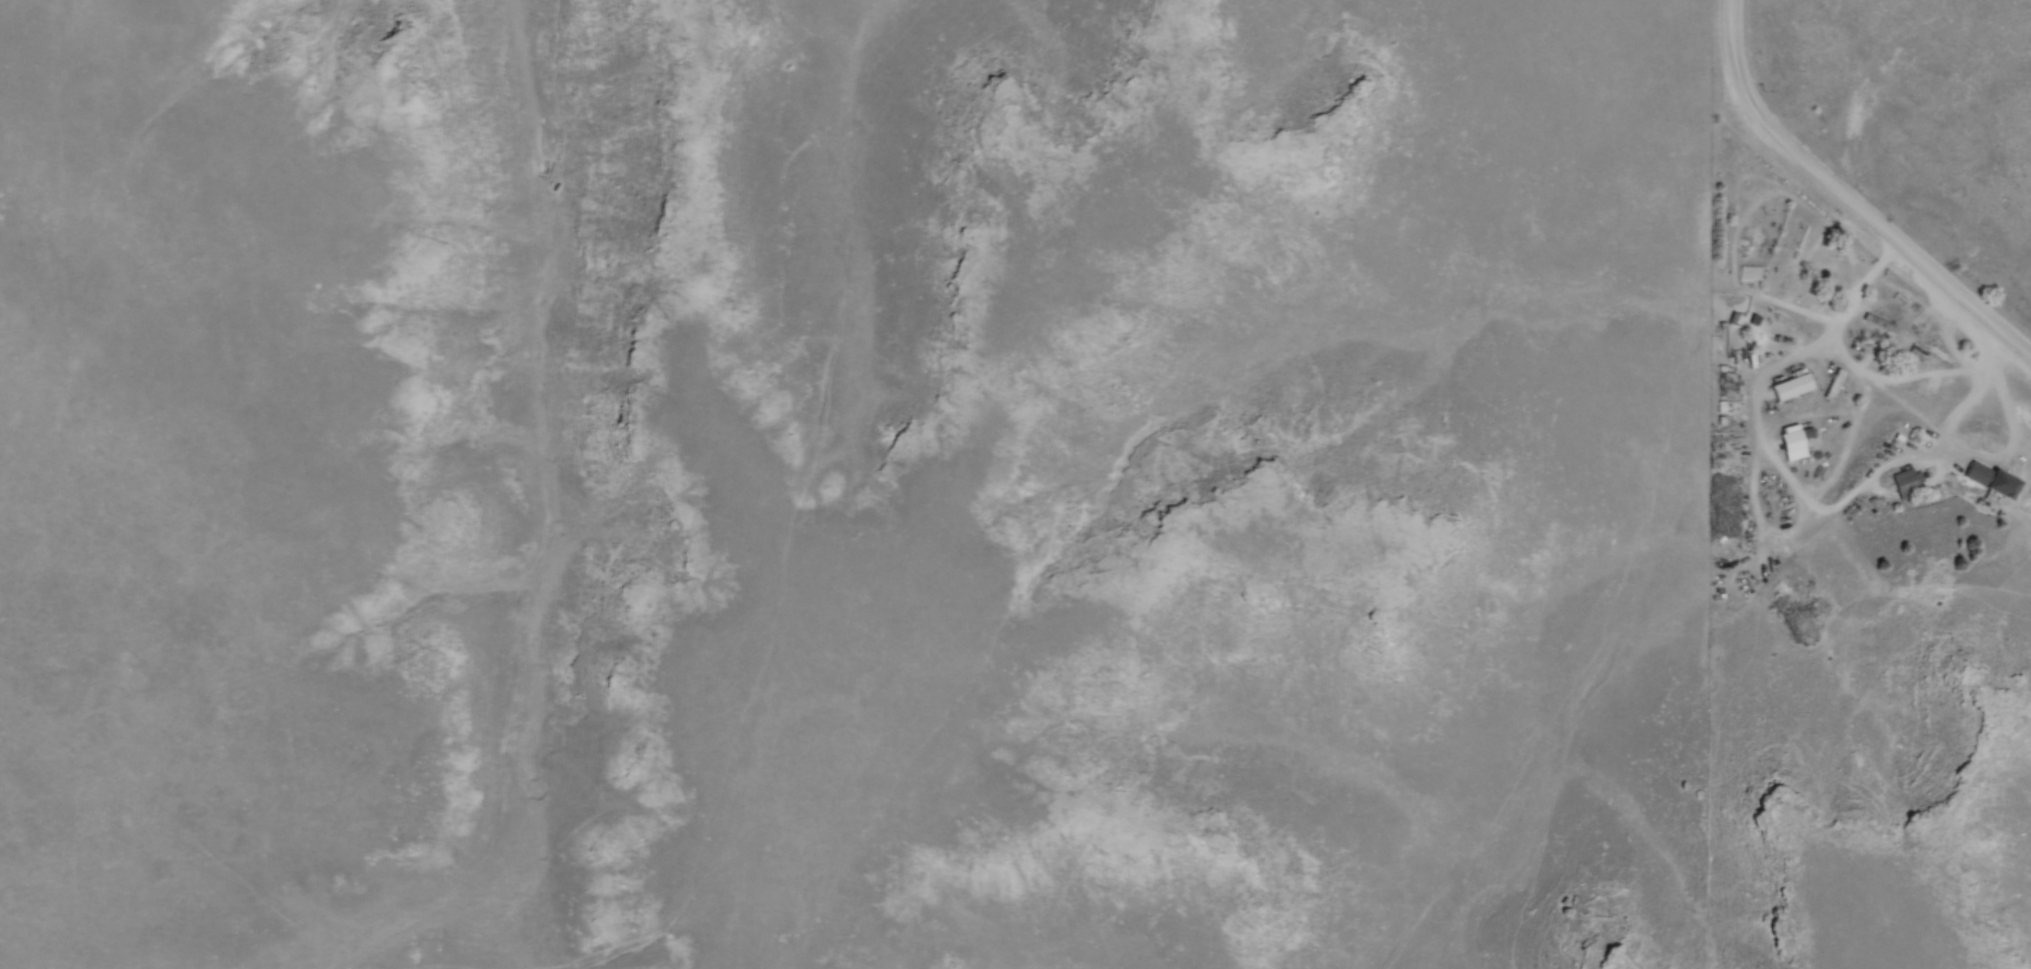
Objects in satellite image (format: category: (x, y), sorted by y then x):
road: (1842, 206)
building: (1748, 272)
building: (1876, 322)
building: (1870, 329)
building: (1831, 384)
building: (1824, 390)
building: (1782, 393)
road: (1965, 402)
road: (1843, 428)
building: (1807, 436)
building: (1979, 440)
building: (1788, 446)
building: (1962, 483)
building: (1998, 487)
building: (1897, 491)
road: (1839, 502)

